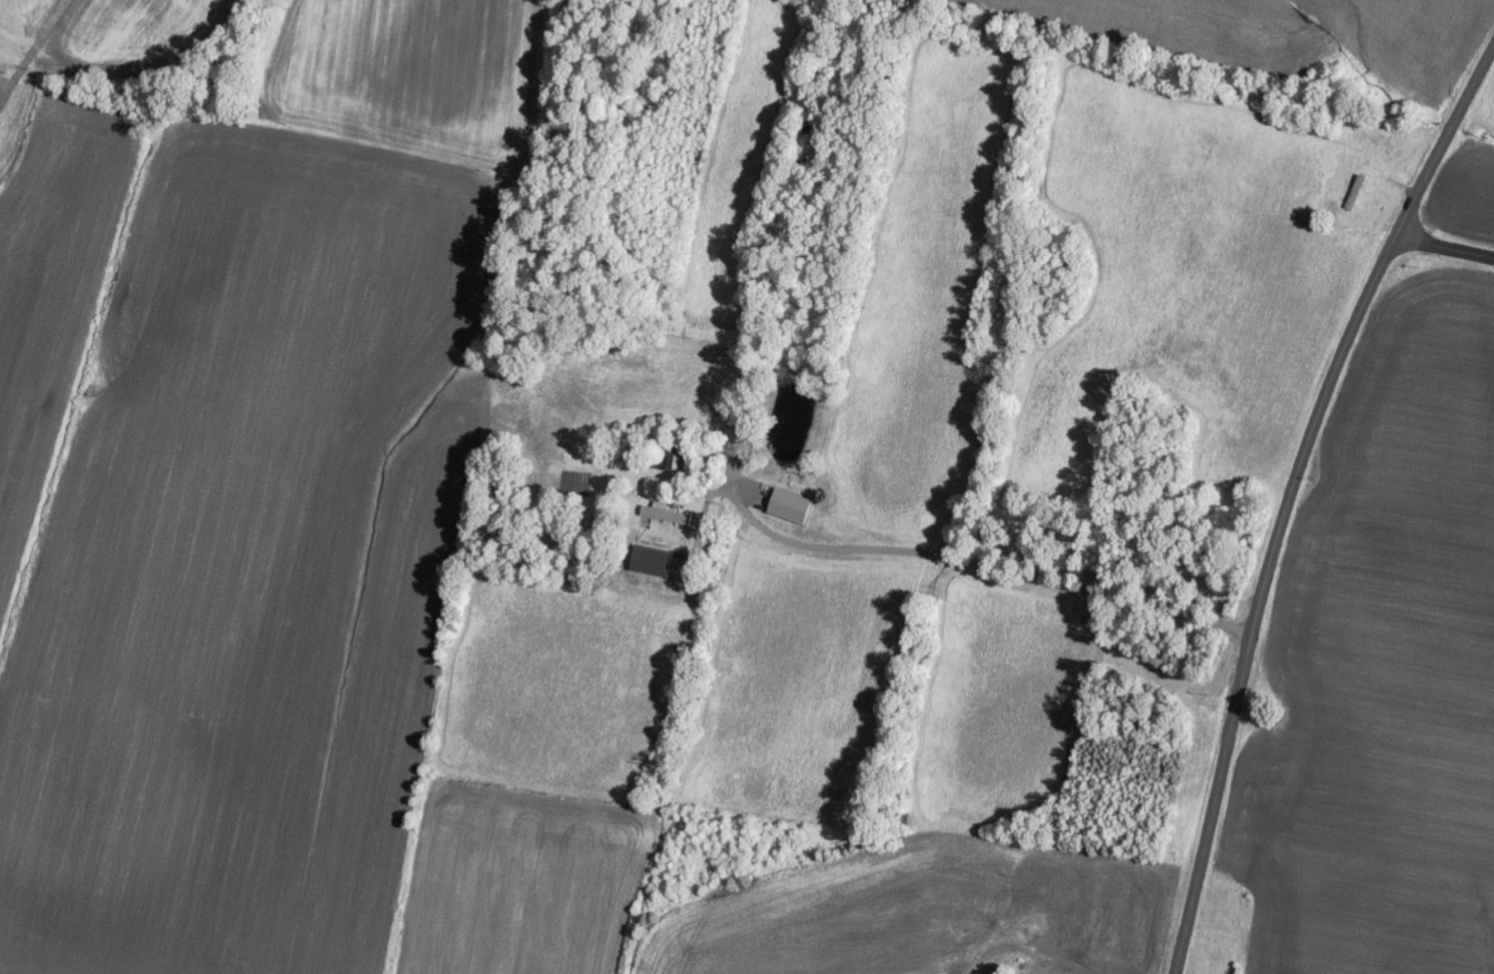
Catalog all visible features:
road: (1444, 248)
road: (1289, 493)
building: (793, 507)
building: (670, 515)
building: (655, 561)
road: (1016, 572)
road: (1065, 967)

